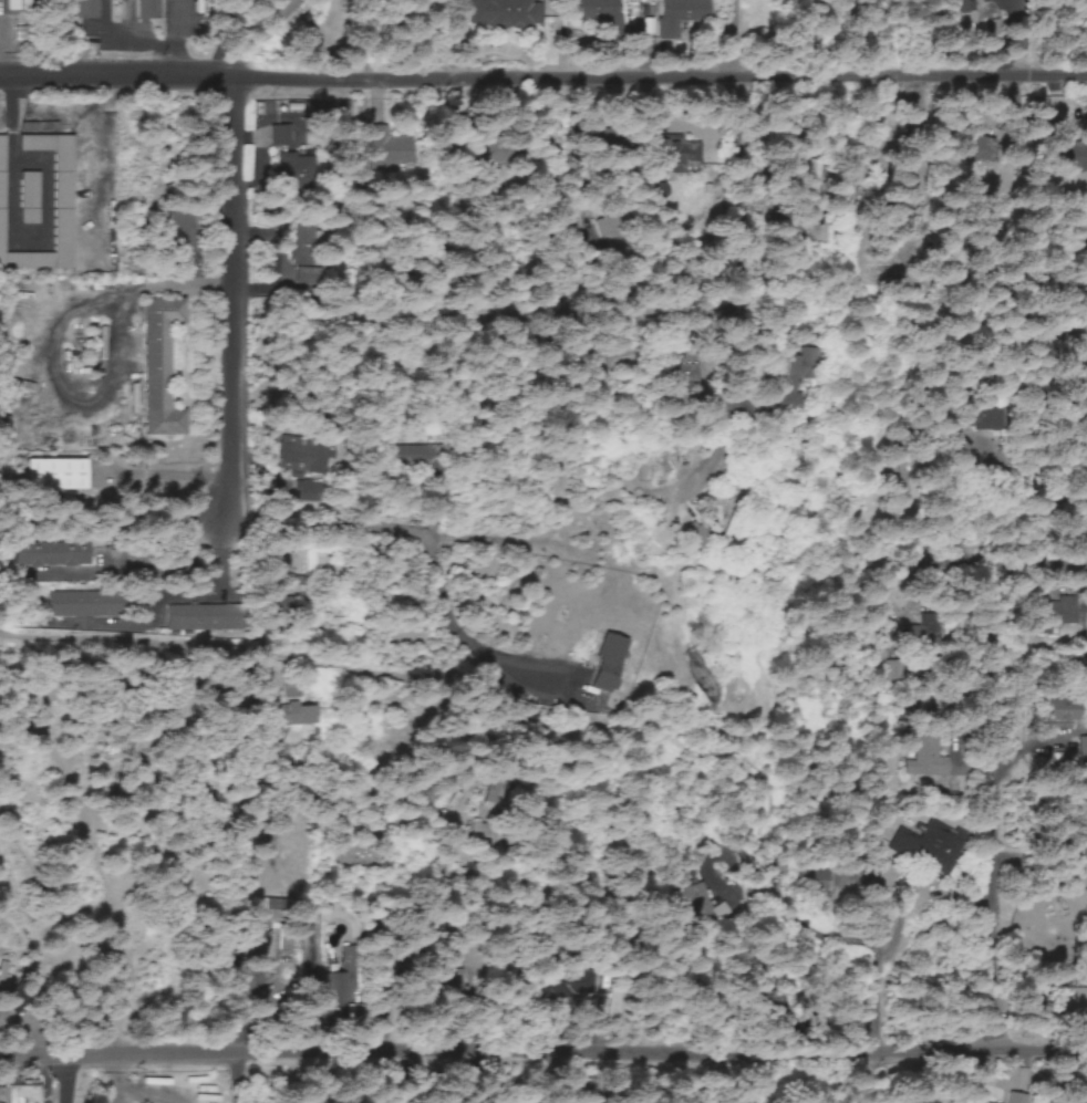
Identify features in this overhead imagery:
building: (13, 6)
building: (85, 10)
building: (146, 10)
building: (682, 11)
building: (506, 13)
building: (596, 13)
road: (543, 69)
road: (234, 127)
building: (276, 138)
building: (976, 150)
building: (681, 156)
road: (707, 173)
building: (809, 176)
building: (28, 200)
building: (61, 205)
building: (180, 238)
building: (302, 246)
road: (571, 268)
road: (235, 352)
building: (159, 366)
building: (795, 384)
building: (982, 420)
building: (297, 456)
building: (54, 477)
road: (759, 495)
building: (700, 540)
building: (51, 555)
building: (312, 569)
building: (82, 603)
building: (282, 610)
building: (1056, 614)
building: (203, 618)
building: (607, 665)
road: (147, 667)
building: (914, 709)
building: (1062, 712)
building: (291, 715)
building: (1083, 752)
building: (924, 761)
road: (1067, 764)
building: (479, 831)
building: (923, 846)
building: (1083, 850)
building: (814, 882)
building: (268, 936)
road: (718, 947)
building: (345, 960)
building: (560, 986)
building: (353, 1017)
building: (21, 1095)
road: (548, 1095)

